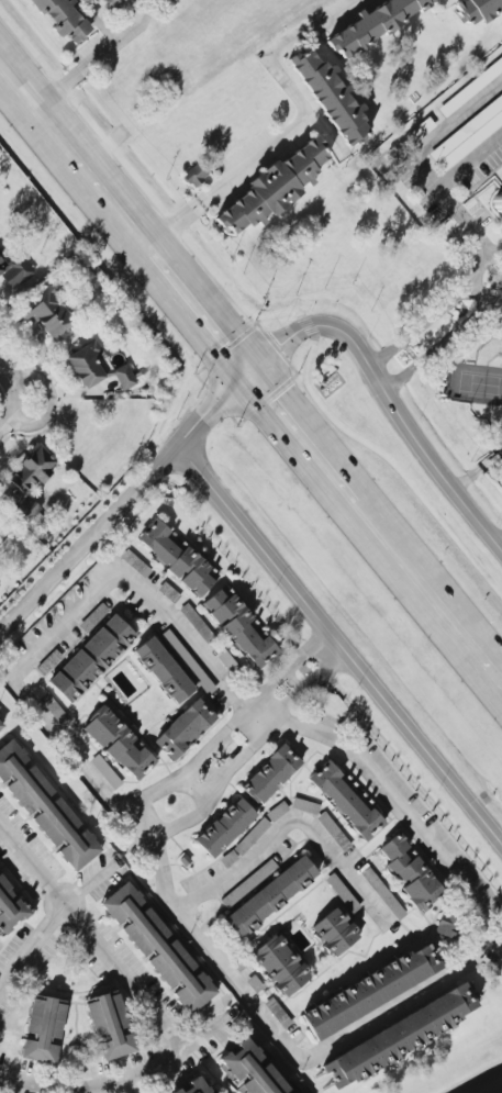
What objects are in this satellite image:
building: (131, 0)
building: (114, 3)
building: (476, 10)
building: (63, 18)
road: (99, 20)
building: (373, 25)
road: (93, 55)
building: (470, 88)
building: (330, 96)
road: (298, 126)
building: (468, 135)
road: (72, 158)
road: (469, 160)
building: (196, 175)
road: (427, 176)
building: (275, 187)
building: (498, 203)
building: (14, 270)
road: (480, 293)
road: (490, 301)
road: (196, 310)
building: (49, 313)
road: (259, 315)
road: (283, 343)
building: (96, 367)
road: (381, 377)
road: (8, 384)
road: (47, 401)
road: (5, 412)
road: (412, 436)
road: (300, 437)
building: (32, 470)
road: (124, 502)
building: (29, 511)
road: (500, 544)
building: (177, 557)
building: (135, 564)
road: (427, 593)
road: (69, 621)
building: (198, 625)
building: (241, 626)
road: (338, 646)
road: (331, 647)
road: (325, 651)
building: (91, 658)
building: (163, 670)
building: (53, 707)
building: (1, 725)
road: (301, 725)
building: (183, 729)
building: (118, 743)
building: (105, 772)
building: (270, 773)
building: (346, 800)
building: (304, 806)
building: (45, 807)
road: (293, 822)
building: (224, 827)
building: (333, 829)
road: (141, 832)
building: (252, 836)
building: (410, 873)
building: (249, 884)
building: (342, 893)
building: (383, 893)
building: (270, 896)
building: (9, 908)
road: (48, 922)
building: (450, 925)
building: (334, 932)
road: (89, 934)
building: (158, 948)
building: (279, 966)
building: (369, 991)
building: (277, 1013)
building: (110, 1025)
building: (42, 1029)
building: (399, 1036)
building: (250, 1070)
road: (120, 1075)
building: (194, 1086)
building: (176, 1092)

